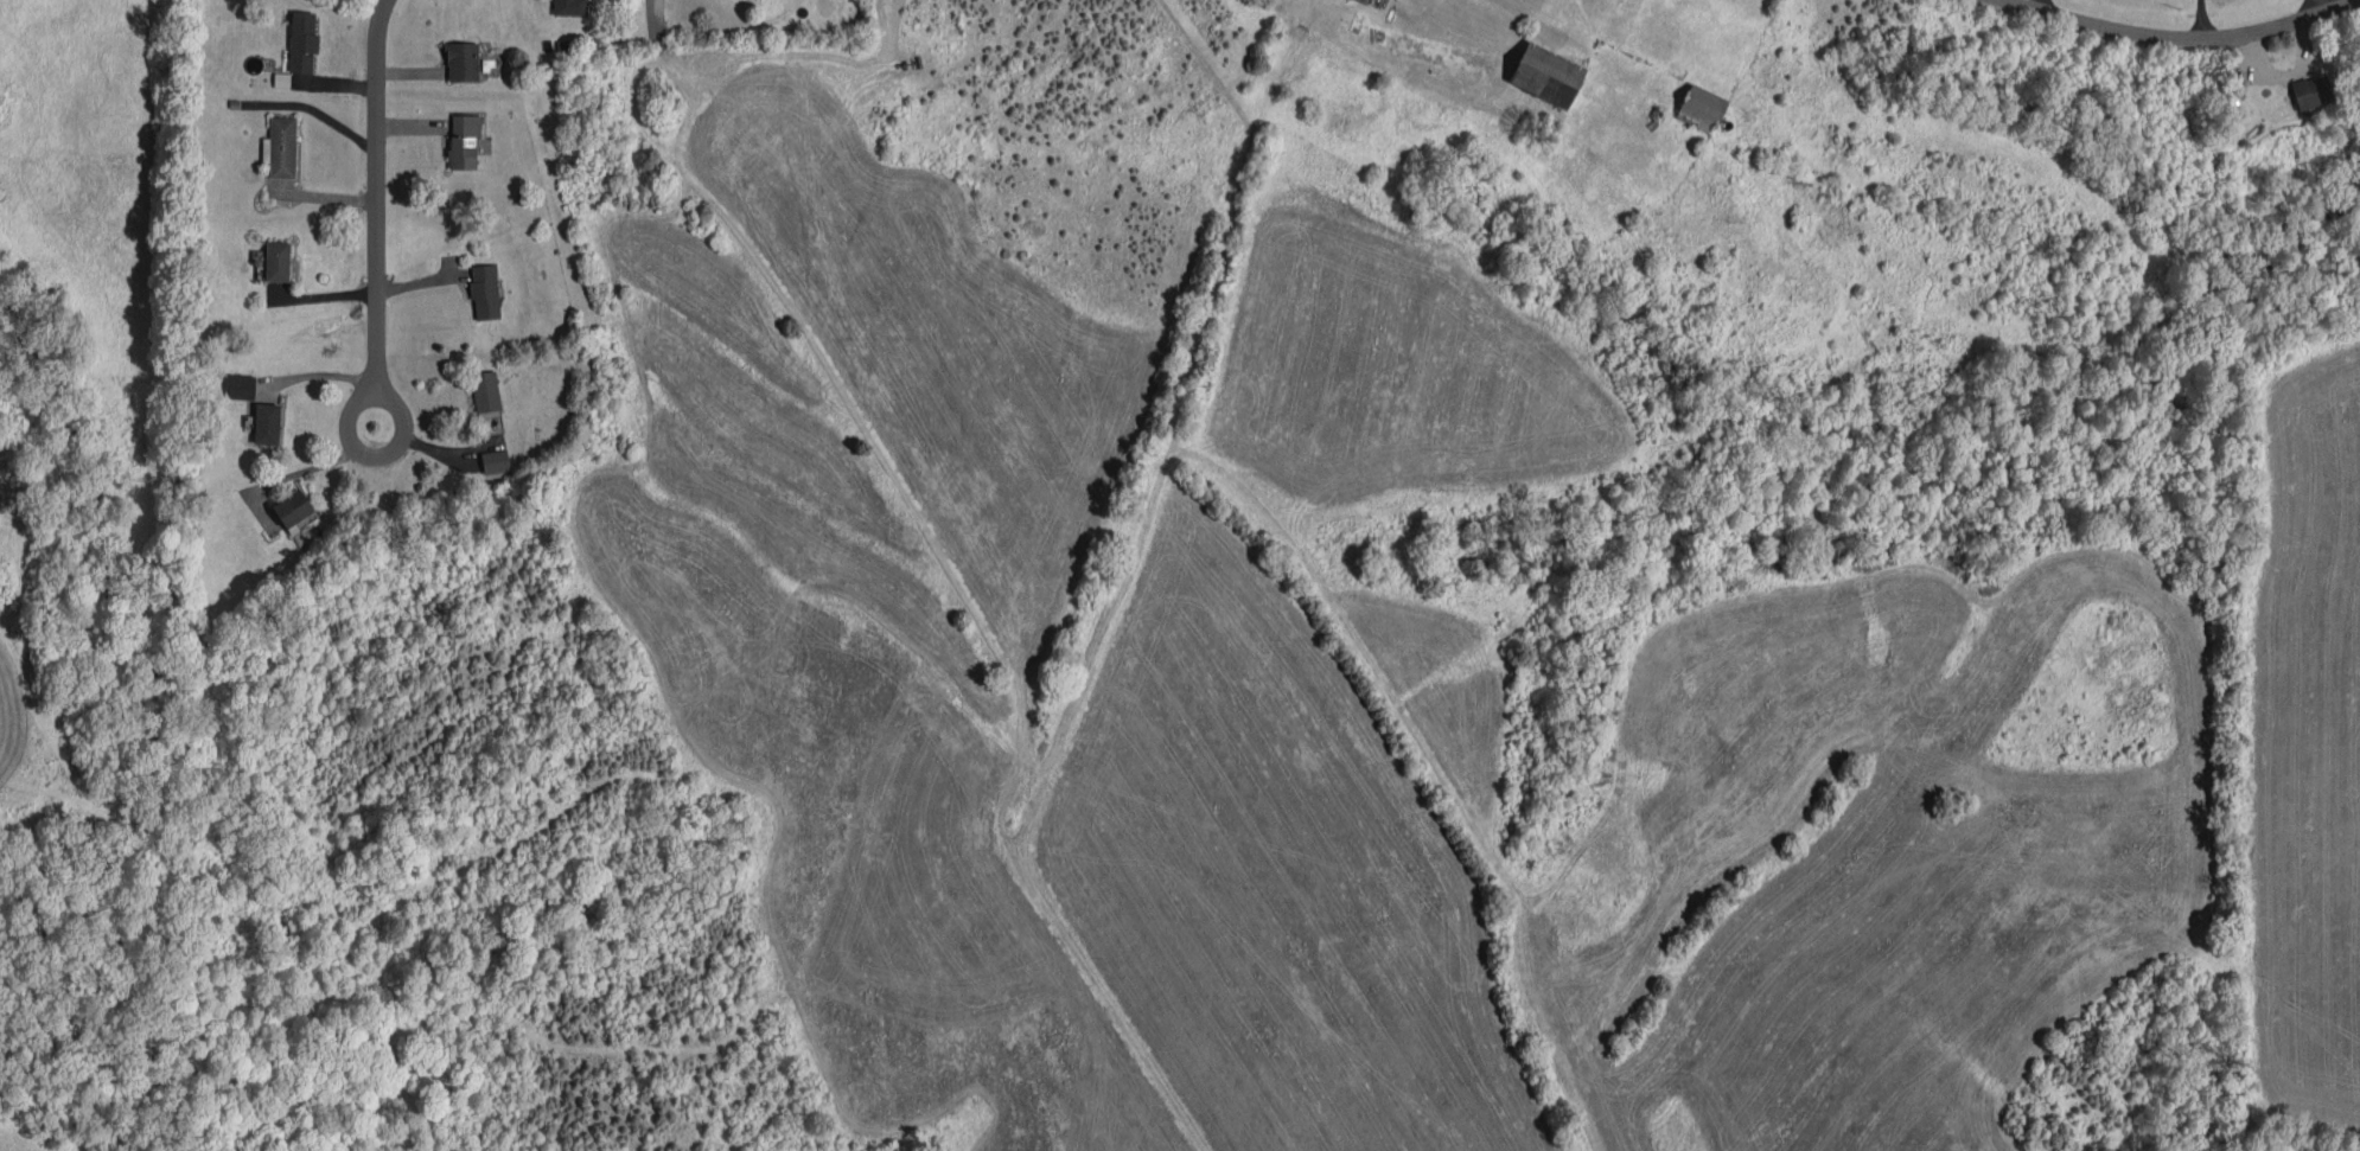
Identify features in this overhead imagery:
road: (2041, 4)
building: (568, 7)
road: (2307, 8)
road: (657, 15)
road: (2198, 18)
road: (2183, 37)
building: (301, 41)
building: (461, 62)
building: (1545, 75)
building: (281, 79)
building: (2310, 91)
building: (1701, 107)
building: (464, 140)
building: (280, 147)
road: (377, 191)
building: (276, 261)
building: (484, 292)
building: (240, 386)
building: (485, 391)
building: (266, 423)
road: (365, 452)
building: (495, 461)
building: (292, 507)

